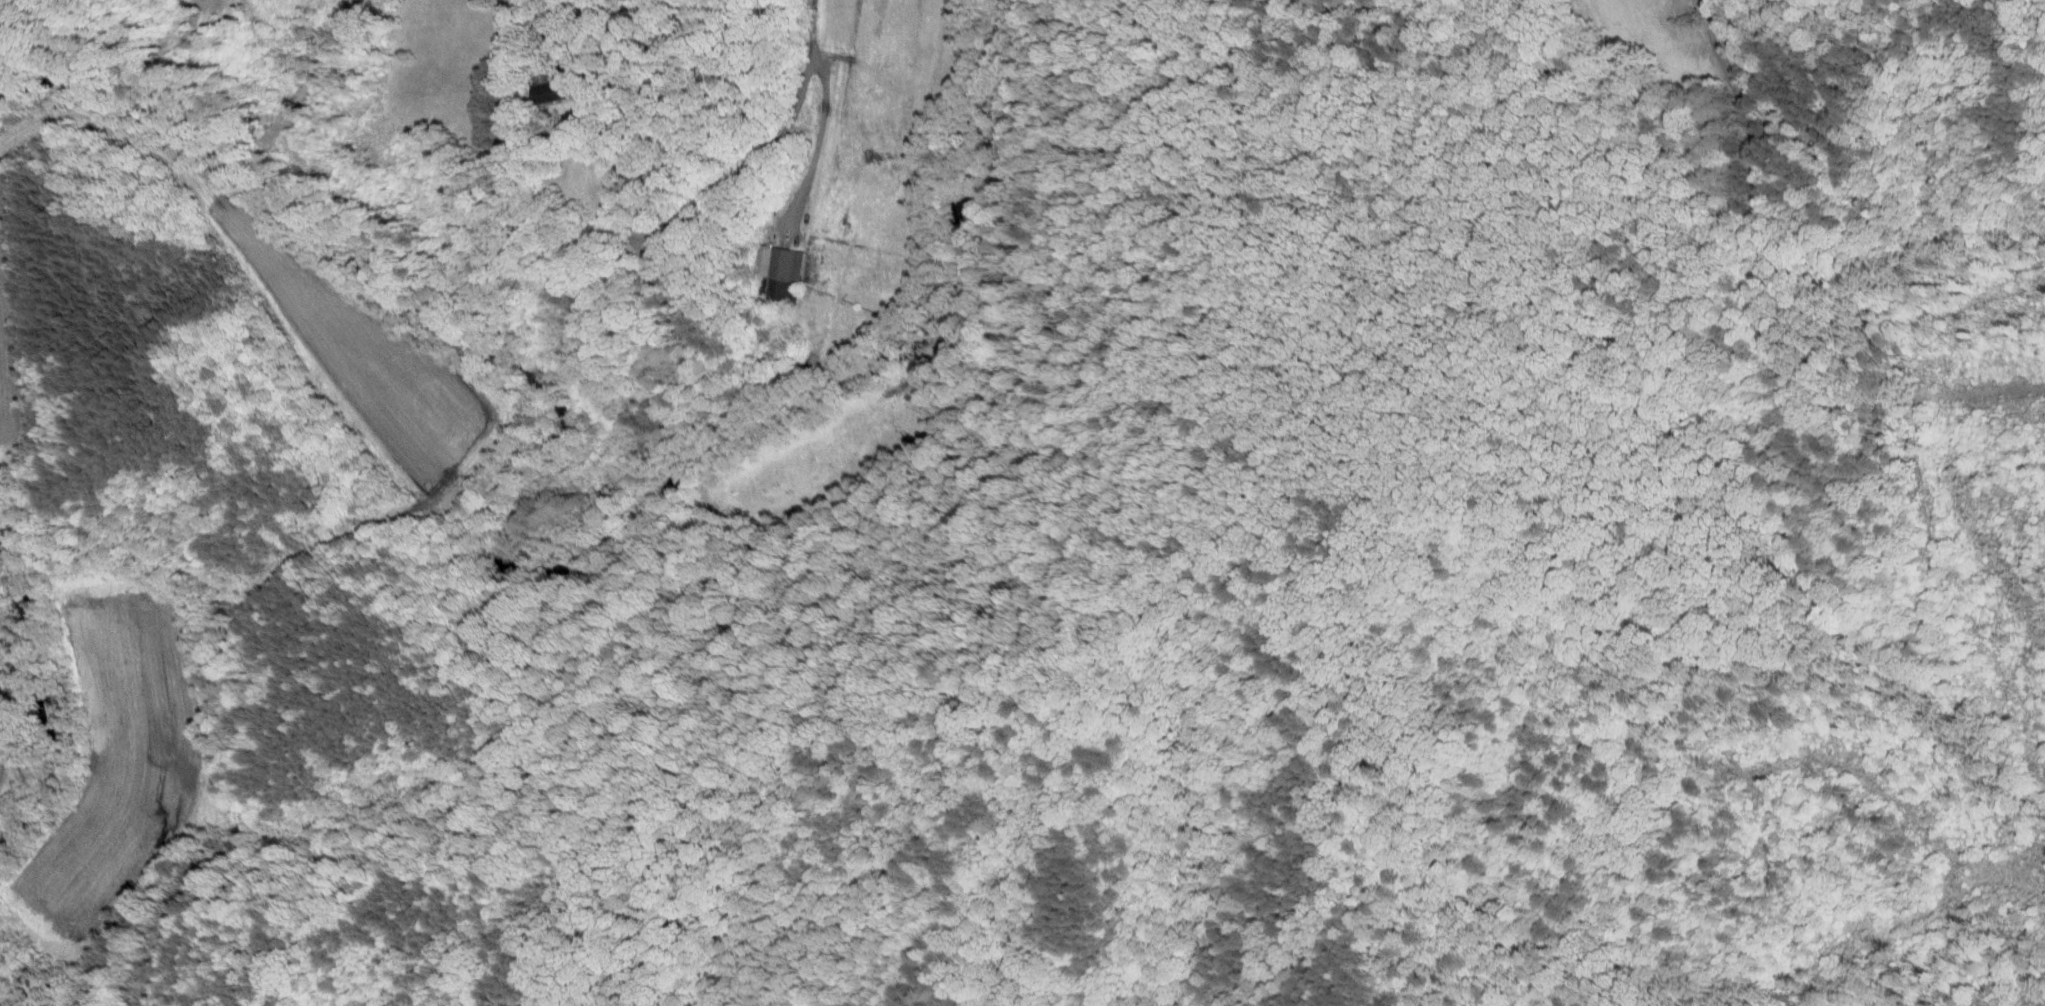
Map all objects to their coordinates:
road: (816, 31)
road: (1930, 41)
building: (528, 84)
road: (1811, 116)
building: (1820, 137)
road: (818, 147)
road: (689, 216)
road: (1756, 225)
building: (765, 266)
road: (1955, 393)

